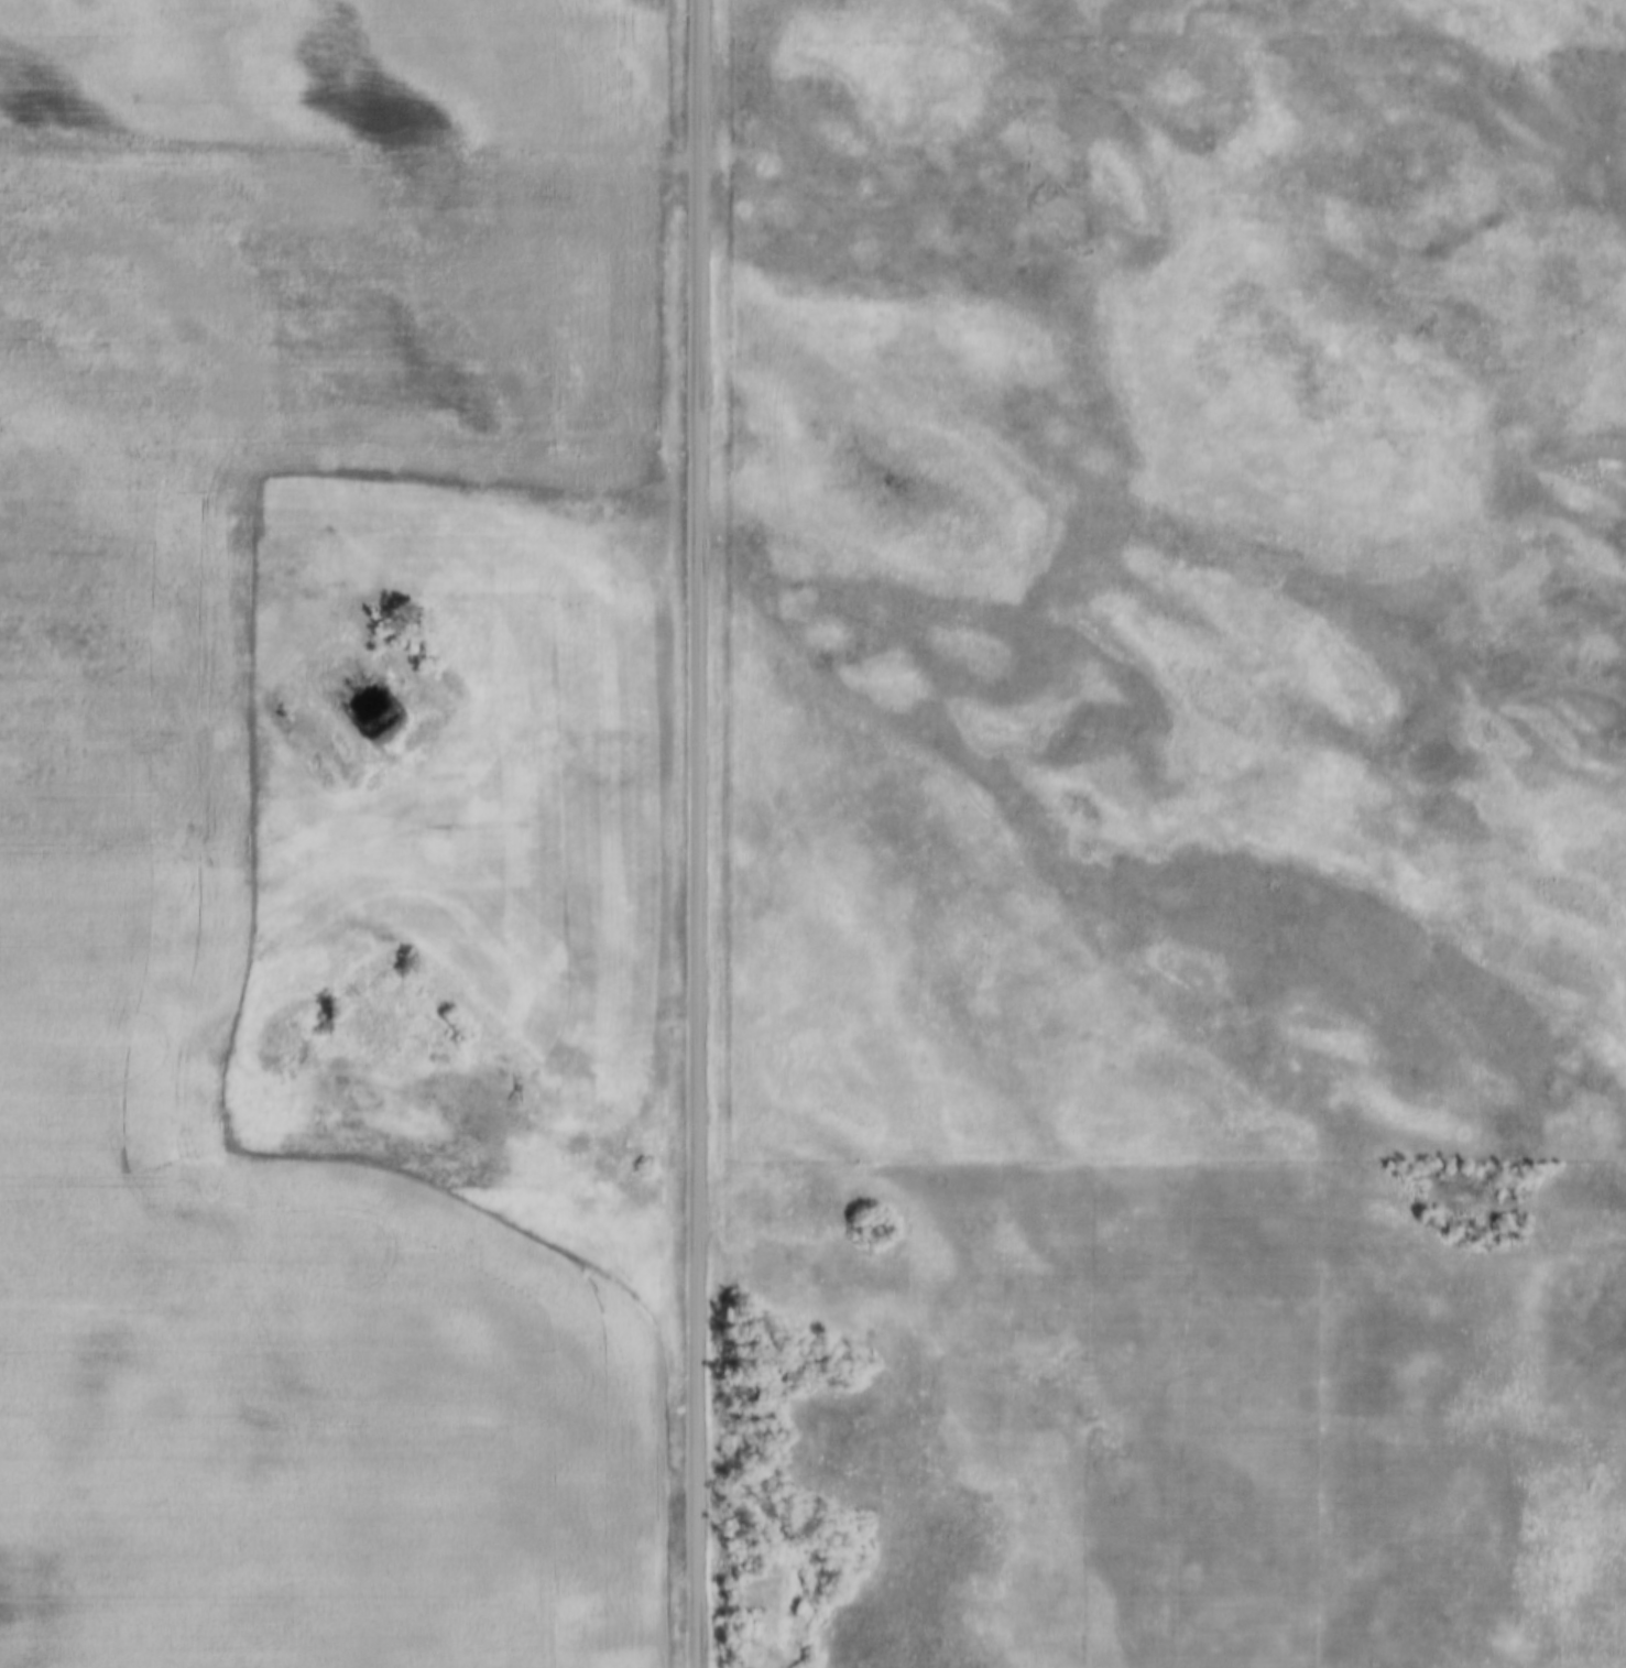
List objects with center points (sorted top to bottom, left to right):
road: (349, 152)
road: (697, 833)

